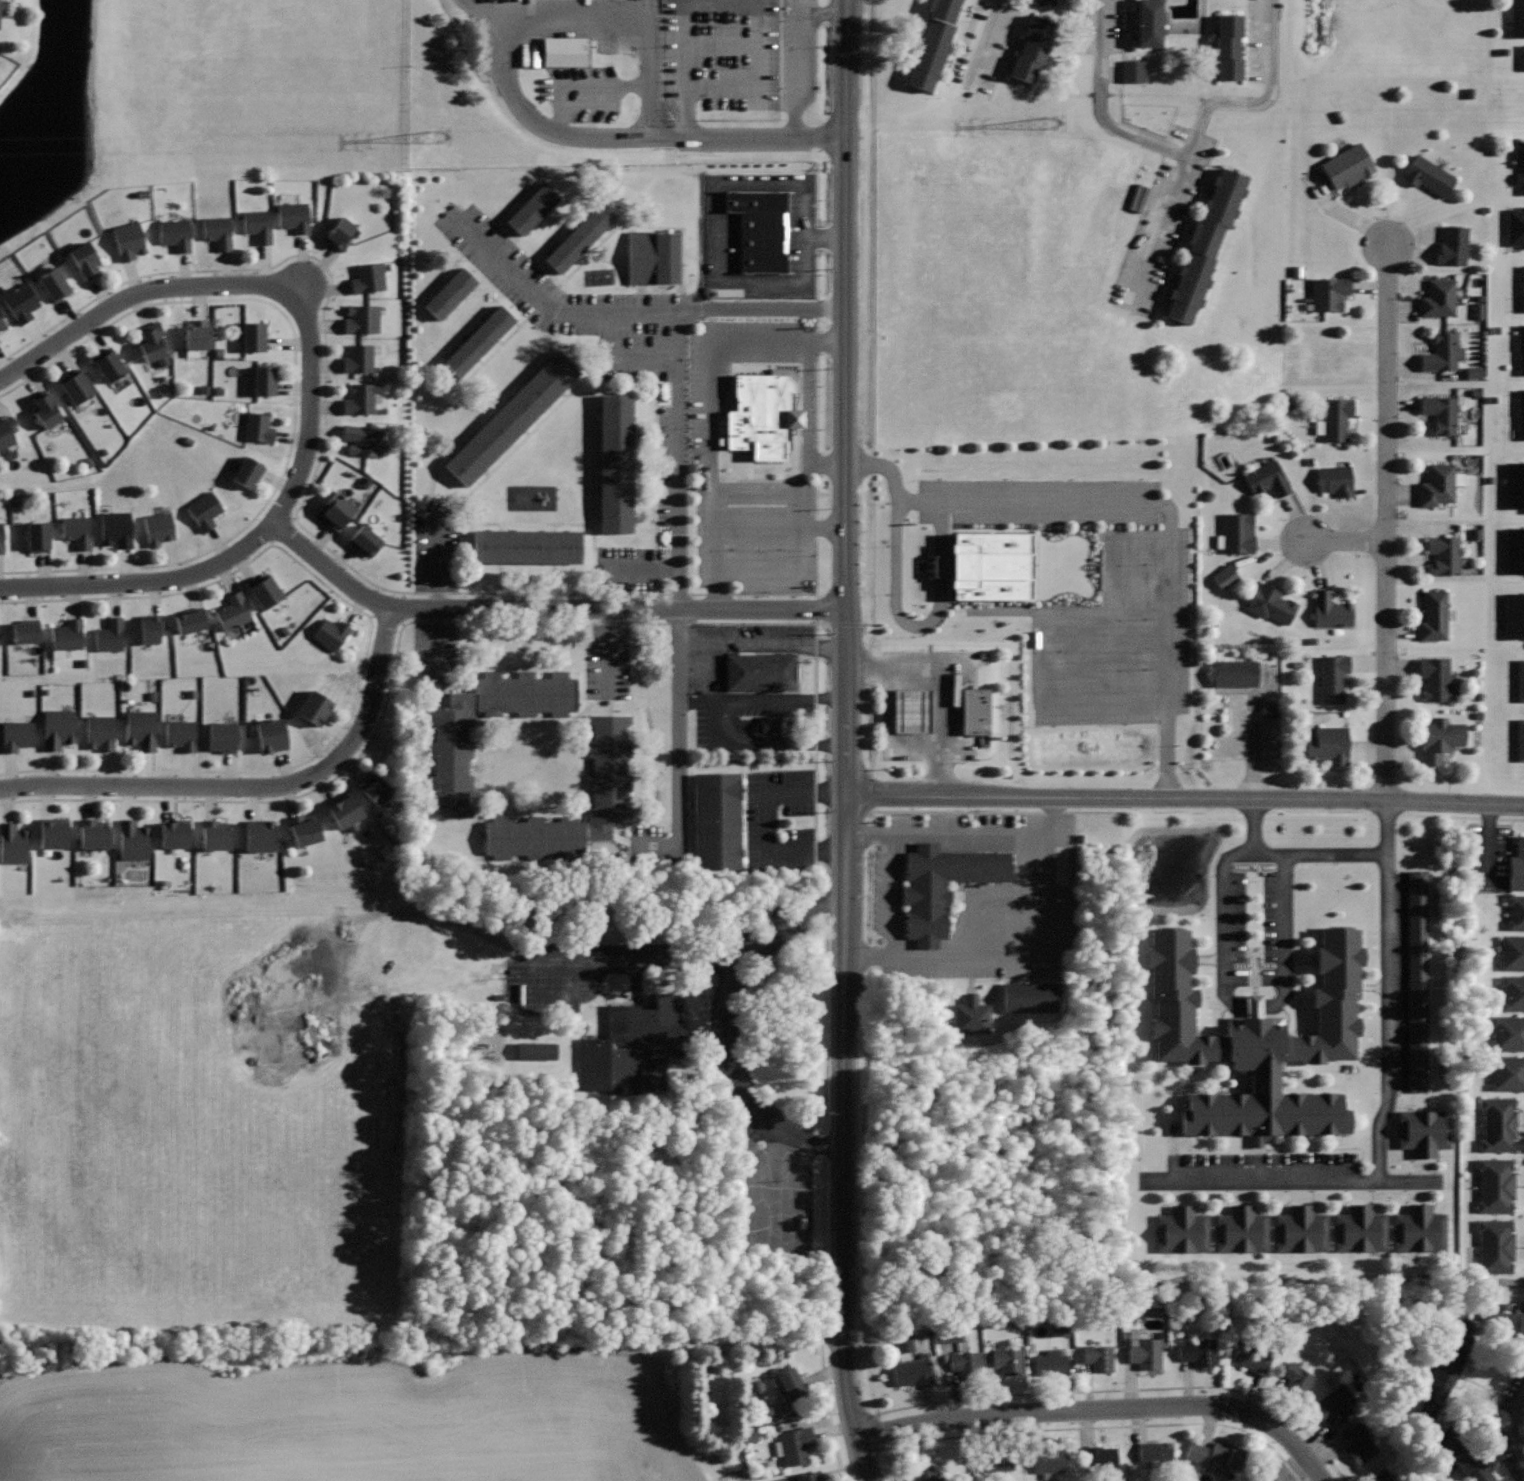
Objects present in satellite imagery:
road: (750, 0)
building: (4, 5)
road: (625, 17)
building: (1517, 18)
building: (1150, 21)
building: (932, 42)
road: (724, 43)
road: (985, 44)
building: (1227, 44)
building: (1031, 47)
building: (565, 51)
parking lot: (666, 53)
building: (1522, 57)
road: (803, 68)
building: (1133, 71)
road: (603, 85)
road: (1259, 102)
road: (557, 103)
road: (1101, 106)
road: (690, 120)
power tower: (1047, 121)
road: (551, 125)
power tower: (438, 135)
road: (615, 137)
building: (1519, 161)
building: (1346, 166)
building: (1428, 175)
building: (528, 210)
building: (294, 216)
building: (257, 225)
building: (1516, 227)
building: (760, 229)
building: (217, 230)
road: (1157, 232)
building: (175, 233)
building: (339, 234)
building: (575, 239)
building: (1206, 239)
building: (128, 240)
building: (1453, 245)
building: (85, 259)
building: (651, 259)
building: (369, 278)
building: (54, 284)
road: (253, 284)
building: (1521, 288)
building: (1329, 293)
building: (446, 294)
building: (1439, 298)
building: (20, 302)
road: (556, 308)
building: (362, 318)
building: (2, 323)
building: (196, 334)
building: (255, 336)
building: (475, 342)
building: (153, 343)
building: (1521, 349)
building: (1443, 352)
building: (1329, 353)
building: (359, 358)
building: (108, 364)
building: (265, 380)
building: (76, 386)
parking lot: (673, 394)
road: (293, 396)
road: (849, 397)
building: (361, 399)
building: (45, 408)
road: (714, 409)
building: (1441, 412)
building: (1520, 414)
building: (759, 416)
building: (1336, 418)
building: (509, 422)
building: (257, 427)
building: (7, 430)
building: (364, 440)
parking lot: (754, 456)
road: (828, 462)
building: (612, 466)
building: (247, 472)
building: (1267, 478)
building: (1336, 480)
building: (1438, 485)
building: (1514, 485)
road: (680, 488)
road: (760, 494)
road: (807, 503)
building: (204, 510)
building: (337, 512)
road: (1166, 515)
road: (1387, 522)
building: (159, 527)
building: (116, 528)
road: (760, 528)
road: (828, 528)
building: (77, 530)
road: (282, 532)
building: (1238, 533)
building: (38, 536)
building: (1, 537)
building: (366, 541)
road: (1346, 541)
building: (524, 548)
building: (1514, 549)
building: (1444, 555)
building: (988, 569)
building: (1224, 576)
road: (144, 582)
building: (264, 589)
road: (448, 593)
road: (1122, 595)
road: (895, 600)
building: (1270, 603)
road: (546, 609)
building: (1330, 610)
building: (233, 611)
parking lot: (1108, 615)
building: (1513, 615)
building: (1434, 616)
road: (1044, 618)
building: (189, 619)
road: (472, 622)
building: (150, 627)
building: (25, 630)
building: (331, 633)
building: (68, 634)
building: (110, 635)
road: (764, 642)
parking lot: (742, 648)
road: (365, 650)
road: (1082, 657)
road: (704, 666)
building: (758, 669)
building: (1235, 672)
building: (1434, 676)
building: (1332, 678)
building: (1520, 680)
road: (939, 688)
road: (705, 694)
road: (784, 698)
road: (1106, 698)
road: (700, 700)
parking lot: (922, 706)
building: (314, 707)
building: (909, 710)
building: (975, 710)
parking lot: (752, 720)
building: (770, 725)
building: (58, 727)
building: (141, 729)
building: (100, 732)
road: (884, 733)
building: (17, 734)
building: (181, 734)
building: (272, 735)
building: (222, 737)
building: (1440, 738)
building: (1520, 739)
road: (769, 744)
building: (1328, 744)
building: (609, 769)
building: (449, 770)
road: (253, 786)
building: (374, 788)
road: (1186, 799)
parking lot: (1368, 809)
building: (345, 810)
road: (1197, 812)
road: (1055, 815)
road: (766, 820)
parking lot: (753, 821)
building: (711, 822)
road: (1255, 825)
building: (305, 829)
building: (54, 832)
building: (93, 833)
building: (175, 833)
road: (866, 833)
road: (969, 833)
building: (215, 834)
building: (259, 835)
building: (133, 840)
building: (12, 844)
building: (1517, 866)
building: (942, 884)
parking lot: (971, 894)
road: (895, 895)
road: (1019, 895)
road: (970, 900)
road: (1141, 905)
building: (1515, 911)
road: (400, 913)
road: (1170, 920)
road: (1222, 929)
road: (1288, 929)
building: (1512, 952)
road: (871, 957)
road: (1037, 957)
road: (632, 959)
building: (1419, 980)
road: (1388, 993)
building: (1512, 993)
building: (1030, 997)
parking lot: (1394, 1004)
building: (969, 1016)
building: (1507, 1032)
building: (1261, 1040)
building: (627, 1042)
building: (535, 1051)
parking lot: (728, 1069)
building: (1508, 1074)
road: (743, 1082)
building: (1499, 1123)
building: (1423, 1130)
road: (847, 1139)
road: (1289, 1183)
building: (1496, 1184)
building: (1242, 1229)
building: (1300, 1229)
building: (1419, 1229)
building: (1182, 1230)
building: (1360, 1230)
road: (759, 1235)
building: (1494, 1246)
building: (1507, 1323)
building: (1059, 1329)
building: (950, 1335)
building: (902, 1342)
building: (1146, 1352)
building: (1199, 1352)
building: (1100, 1356)
building: (1252, 1357)
building: (1009, 1362)
building: (1052, 1362)
building: (967, 1365)
building: (912, 1372)
building: (1297, 1378)
building: (790, 1383)
building: (1439, 1383)
road: (1124, 1388)
building: (1333, 1405)
road: (826, 1408)
road: (1104, 1409)
road: (1494, 1417)
road: (1085, 1427)
road: (1519, 1428)
building: (1359, 1444)
building: (796, 1445)
building: (1155, 1452)
building: (1462, 1455)
building: (1225, 1456)
building: (1101, 1458)
building: (1049, 1460)
building: (995, 1463)
building: (927, 1473)
building: (809, 1476)
building: (1381, 1476)
building: (1273, 1480)

